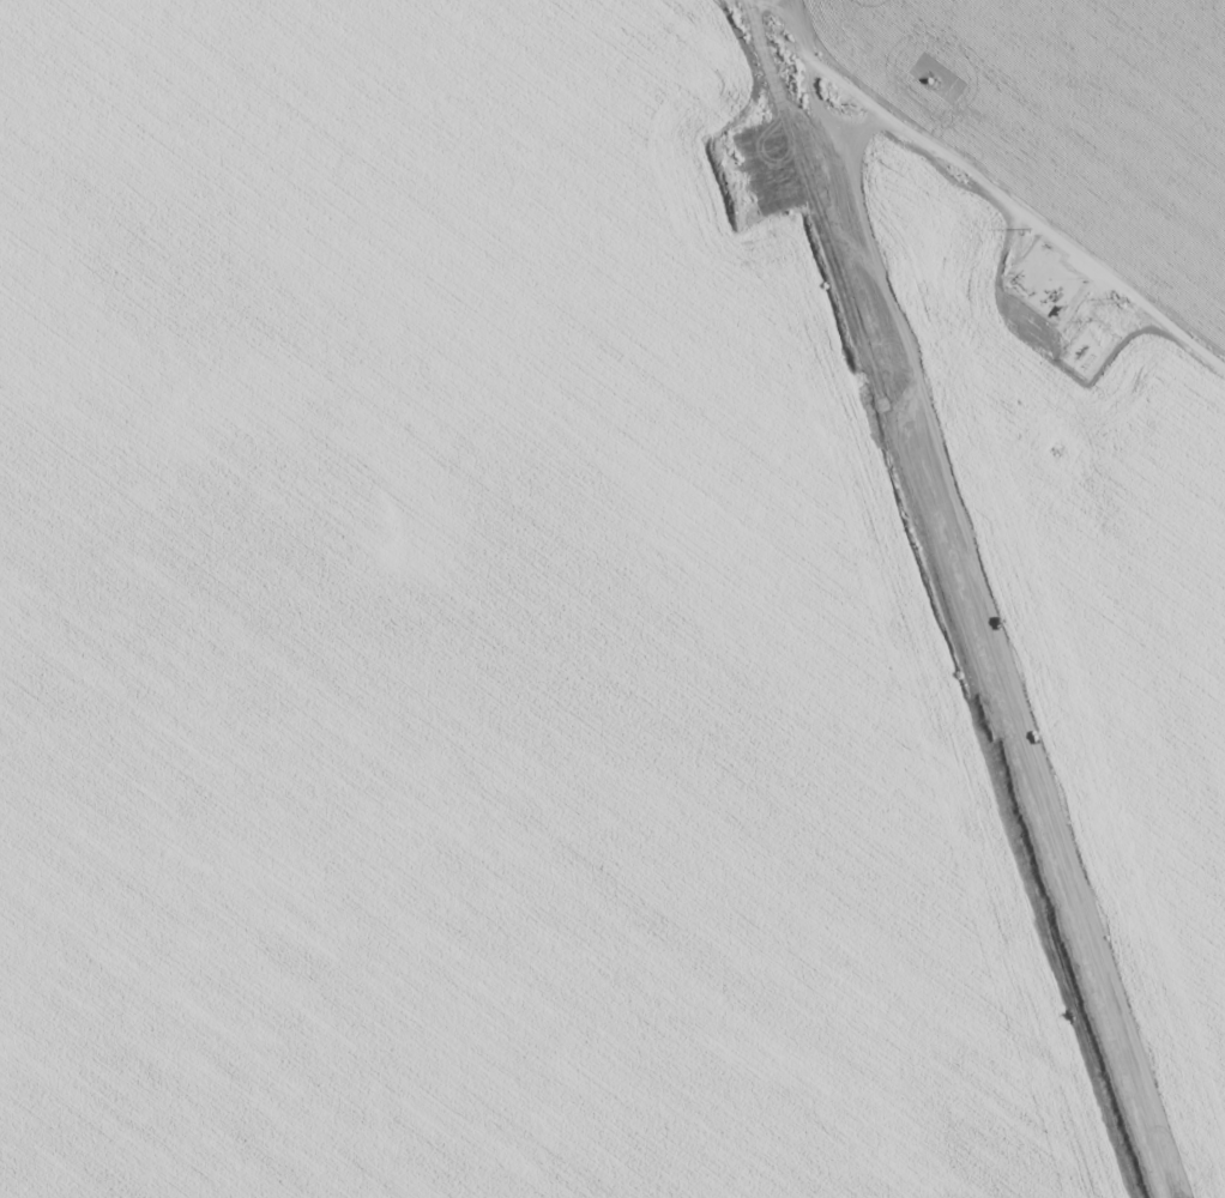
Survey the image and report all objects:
crop: (612, 599)

